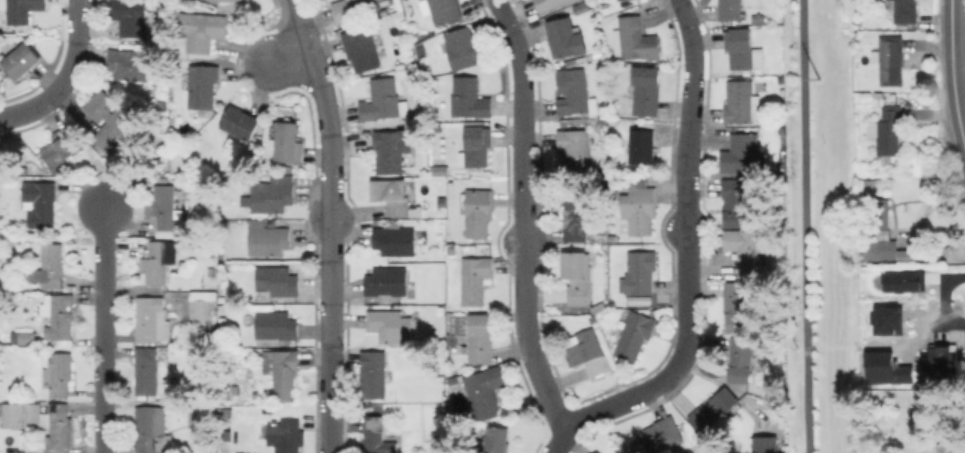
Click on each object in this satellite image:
building: (222, 0)
building: (549, 4)
building: (353, 8)
building: (732, 9)
building: (22, 10)
building: (445, 10)
building: (902, 10)
building: (130, 16)
building: (205, 31)
building: (563, 37)
building: (637, 38)
building: (464, 47)
building: (361, 48)
building: (743, 48)
road: (283, 53)
building: (891, 59)
building: (21, 60)
building: (127, 64)
road: (951, 75)
road: (64, 76)
building: (202, 85)
building: (646, 89)
building: (575, 93)
building: (468, 98)
building: (383, 100)
building: (741, 102)
building: (161, 105)
building: (109, 117)
building: (240, 122)
building: (889, 129)
building: (287, 142)
building: (62, 145)
building: (642, 145)
building: (475, 146)
building: (574, 146)
building: (393, 148)
building: (741, 152)
building: (437, 170)
building: (392, 194)
building: (272, 195)
building: (41, 202)
building: (735, 202)
building: (442, 203)
building: (166, 206)
building: (639, 206)
building: (479, 211)
building: (875, 212)
building: (575, 214)
road: (523, 216)
road: (327, 223)
road: (805, 226)
building: (268, 238)
building: (395, 238)
road: (687, 247)
building: (452, 249)
building: (882, 249)
building: (746, 250)
building: (158, 261)
building: (49, 266)
building: (639, 272)
building: (577, 277)
building: (475, 278)
building: (277, 280)
building: (386, 282)
building: (171, 296)
building: (222, 298)
building: (202, 303)
building: (736, 305)
building: (599, 306)
building: (58, 314)
building: (149, 321)
building: (277, 325)
building: (390, 325)
road: (947, 326)
road: (103, 330)
building: (634, 335)
building: (24, 336)
building: (480, 338)
building: (908, 348)
building: (588, 352)
building: (741, 359)
building: (148, 369)
building: (61, 373)
building: (373, 373)
building: (285, 374)
building: (234, 389)
building: (485, 391)
building: (714, 410)
building: (228, 412)
building: (41, 419)
building: (200, 419)
building: (152, 428)
building: (286, 436)
building: (379, 436)
building: (658, 436)
building: (493, 439)
road: (558, 440)
building: (765, 444)
building: (1, 448)
building: (946, 448)
building: (597, 452)

